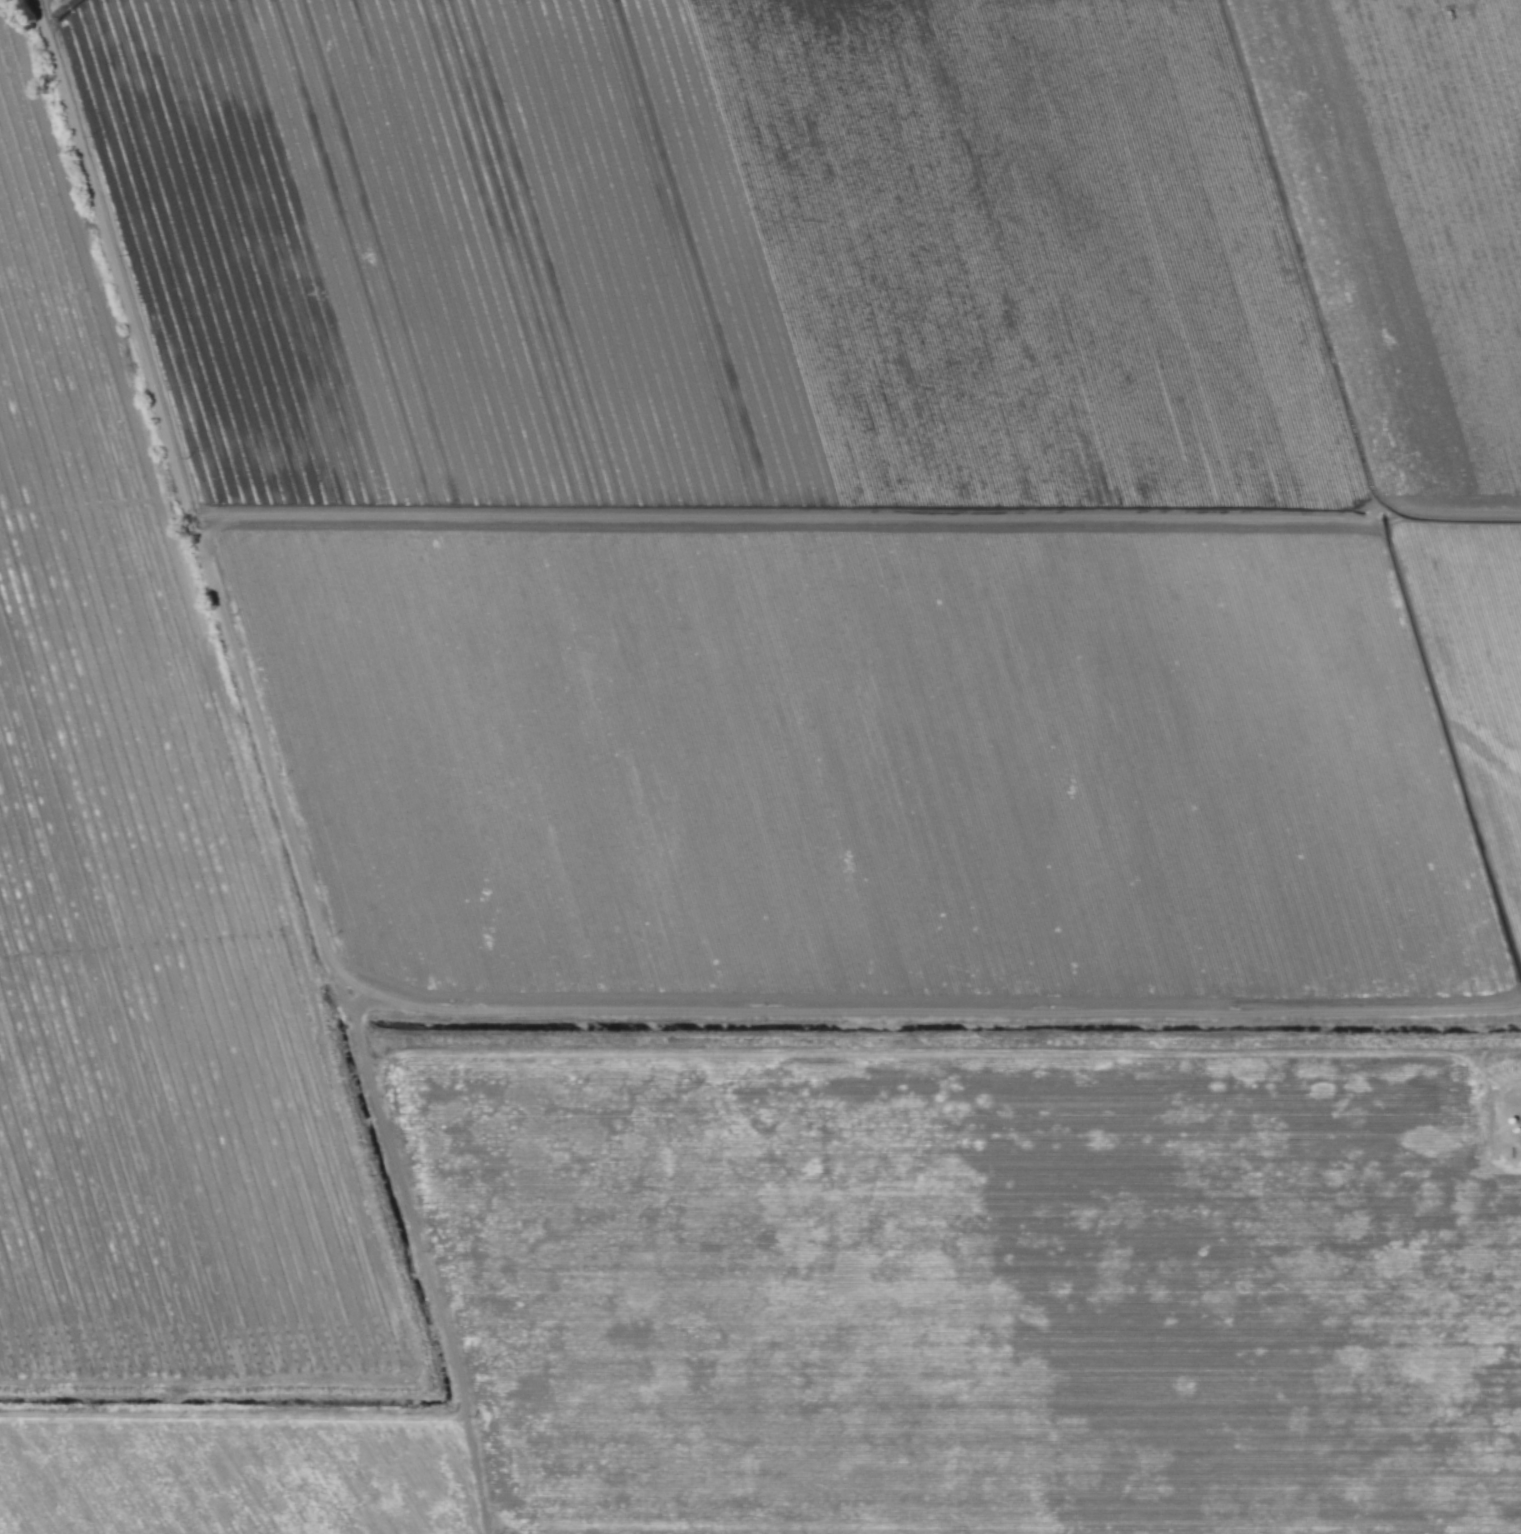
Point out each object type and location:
crop: (760, 767)

